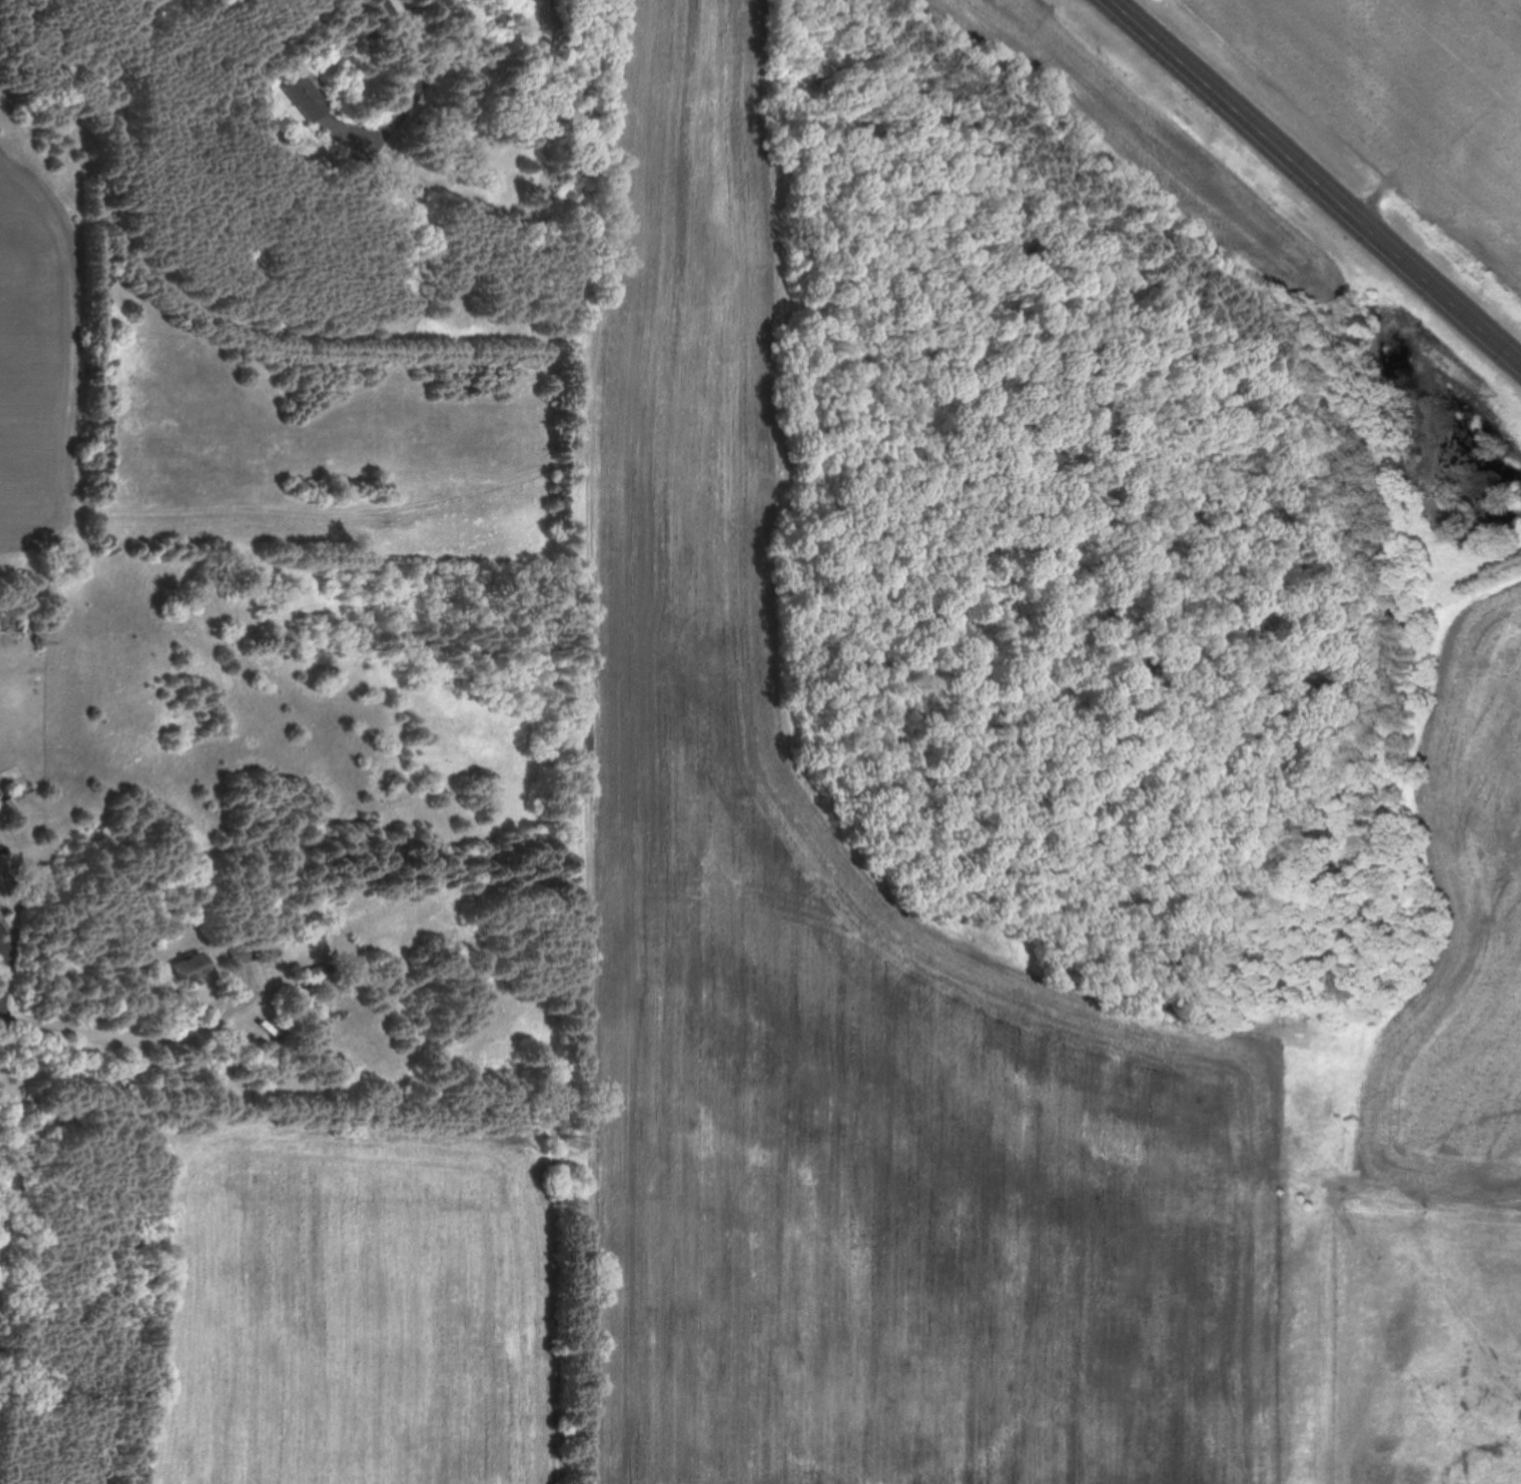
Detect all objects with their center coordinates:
road: (419, 64)
building: (305, 96)
building: (475, 161)
road: (1316, 182)
building: (1, 875)
building: (245, 954)
building: (193, 968)
road: (8, 976)
building: (321, 978)
road: (141, 1040)

